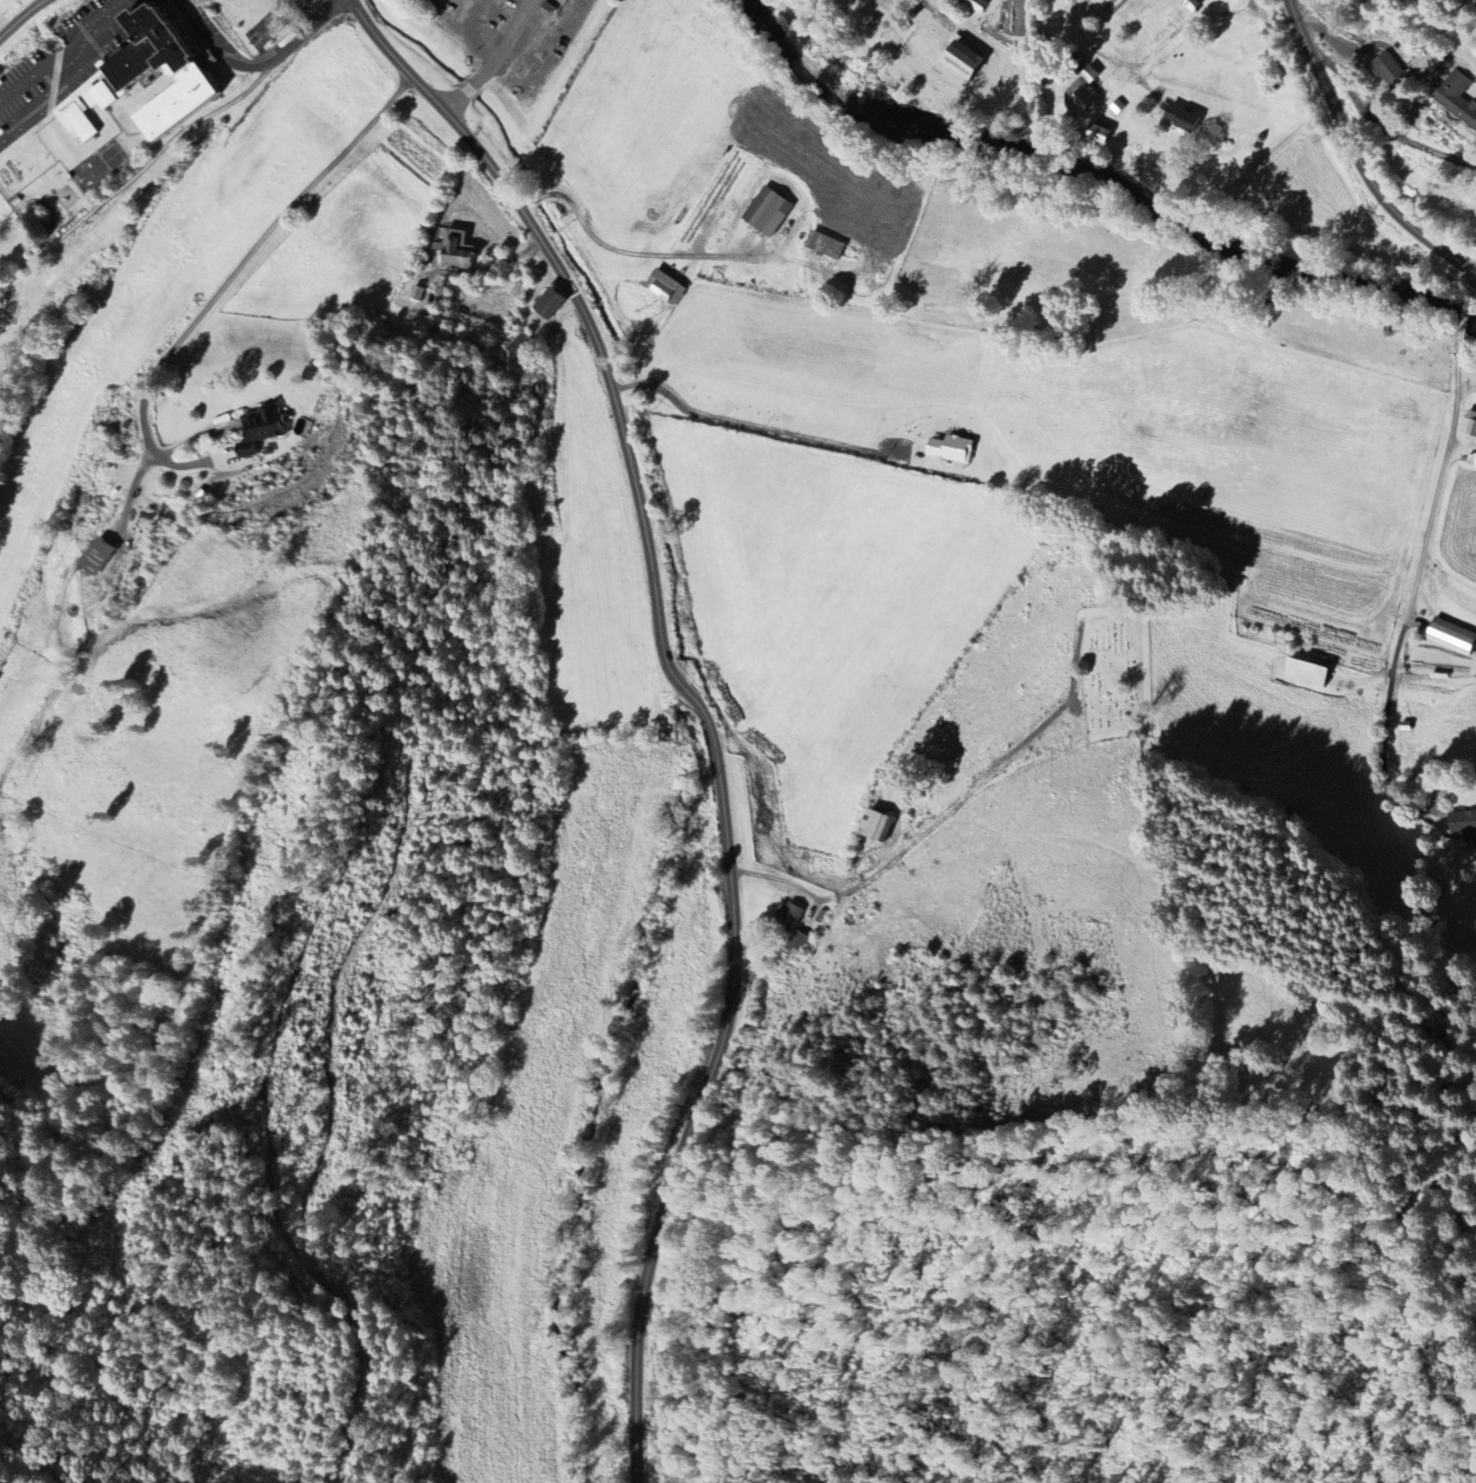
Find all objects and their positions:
building: (0, 0)
parking lot: (160, 0)
building: (971, 2)
building: (908, 6)
building: (1192, 7)
road: (105, 19)
road: (25, 20)
parking lot: (98, 29)
road: (504, 44)
building: (53, 45)
building: (71, 55)
road: (1149, 55)
building: (964, 65)
road: (260, 67)
building: (126, 72)
building: (1386, 72)
building: (1094, 73)
road: (470, 91)
building: (1456, 98)
building: (1083, 100)
road: (456, 104)
building: (1119, 108)
building: (1179, 119)
building: (1102, 133)
road: (1357, 156)
building: (773, 215)
building: (828, 245)
building: (455, 250)
road: (256, 255)
road: (1473, 286)
building: (668, 287)
building: (417, 293)
building: (548, 303)
road: (1466, 320)
building: (1468, 423)
road: (752, 426)
building: (258, 429)
road: (194, 438)
building: (950, 450)
building: (1471, 458)
road: (1441, 482)
road: (129, 497)
building: (95, 556)
building: (1450, 636)
building: (1304, 672)
park: (1118, 674)
road: (696, 700)
road: (1384, 733)
building: (1463, 824)
building: (875, 826)
building: (788, 916)
building: (797, 941)

